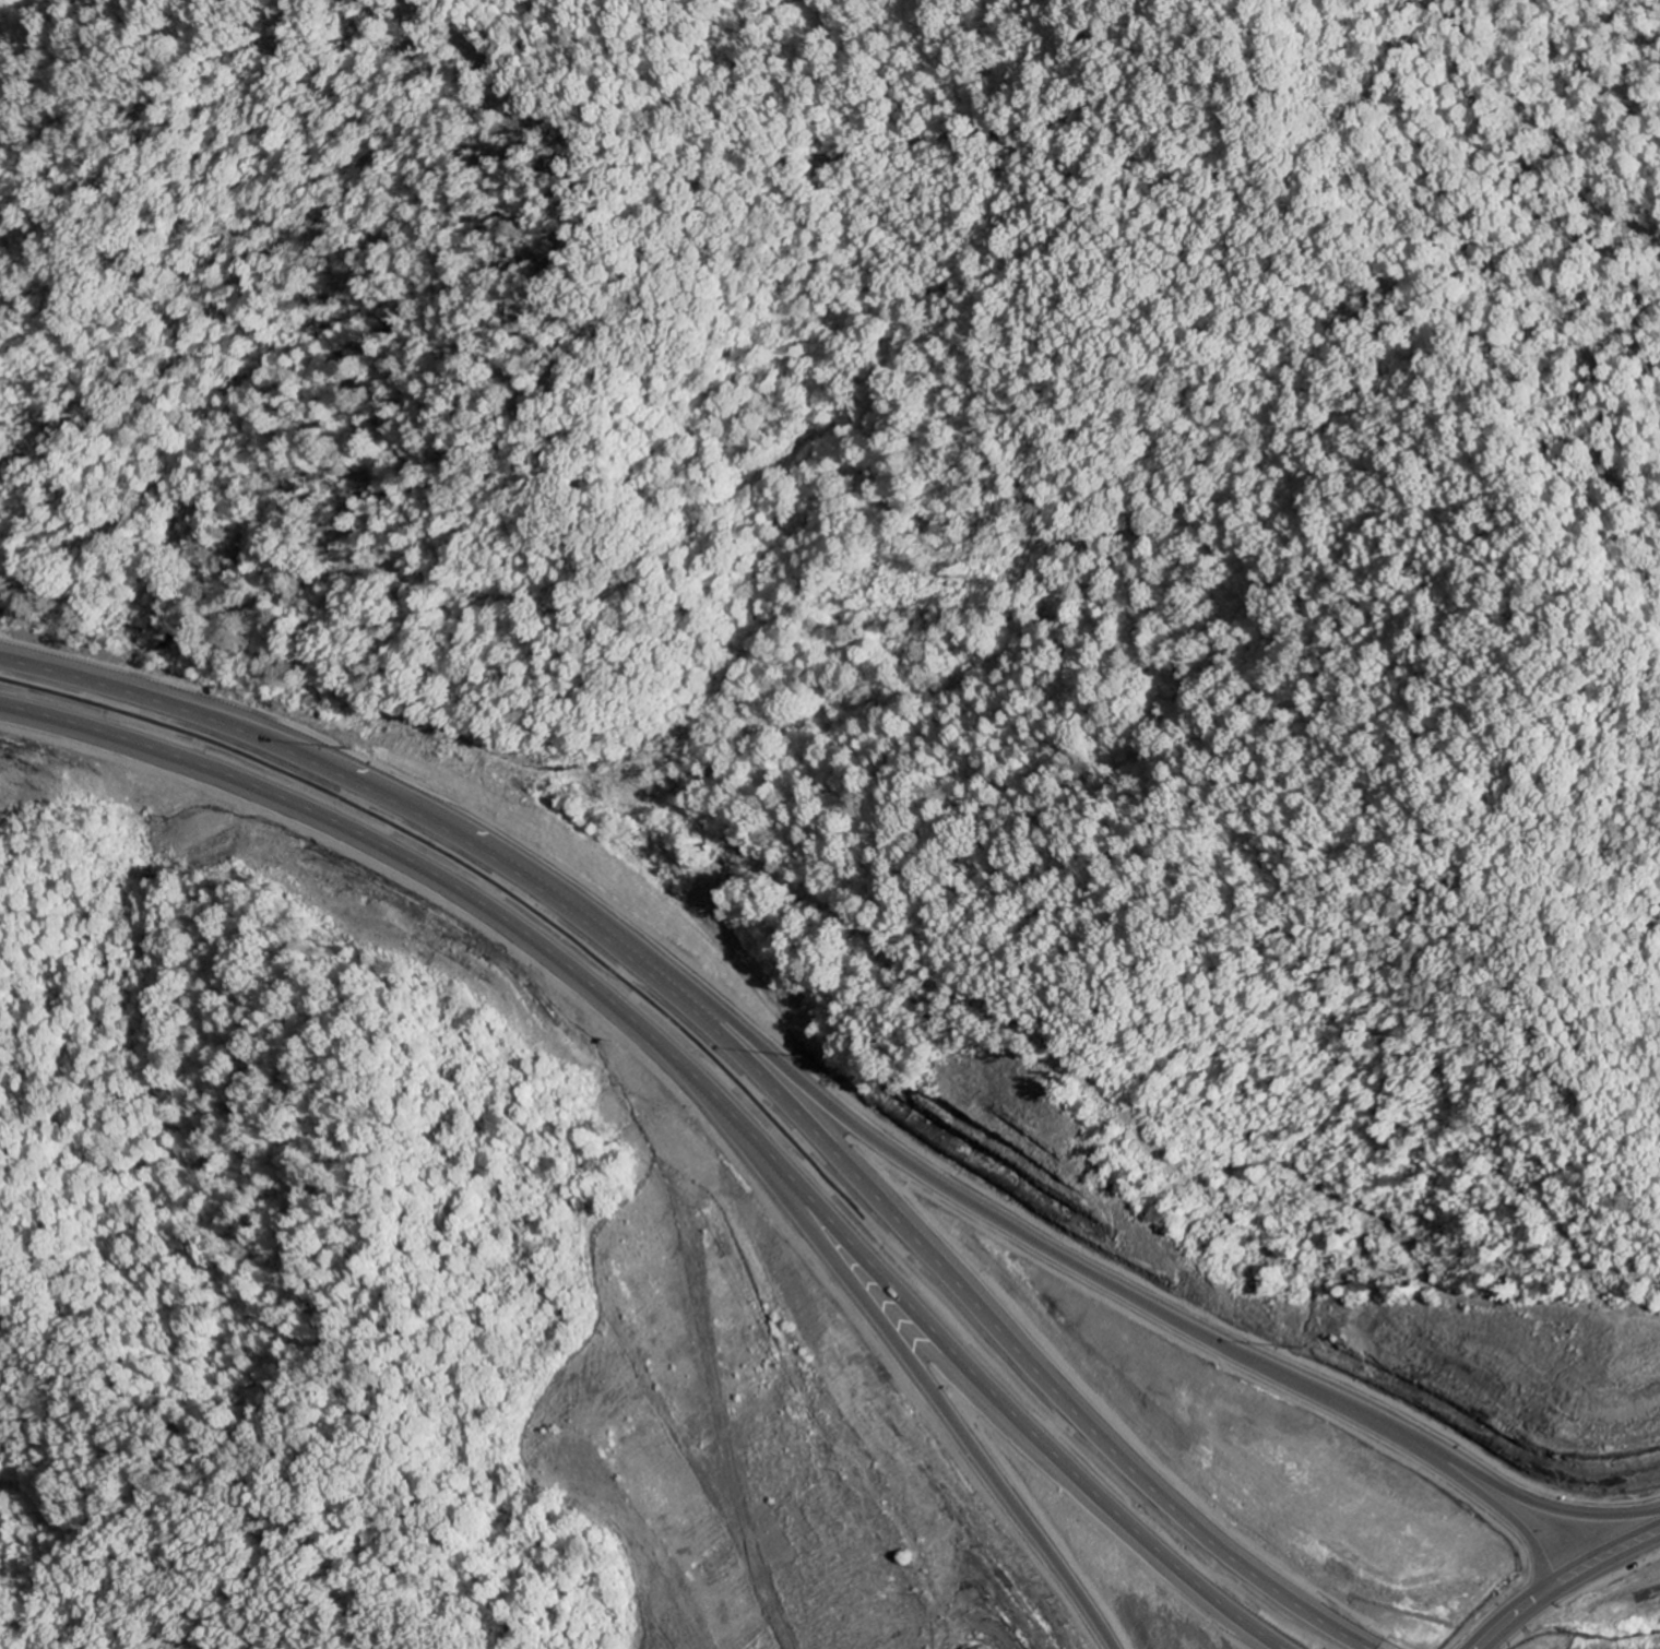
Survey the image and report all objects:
road: (738, 1064)
road: (690, 1081)
road: (1093, 1284)
road: (910, 1383)
road: (1556, 1580)

